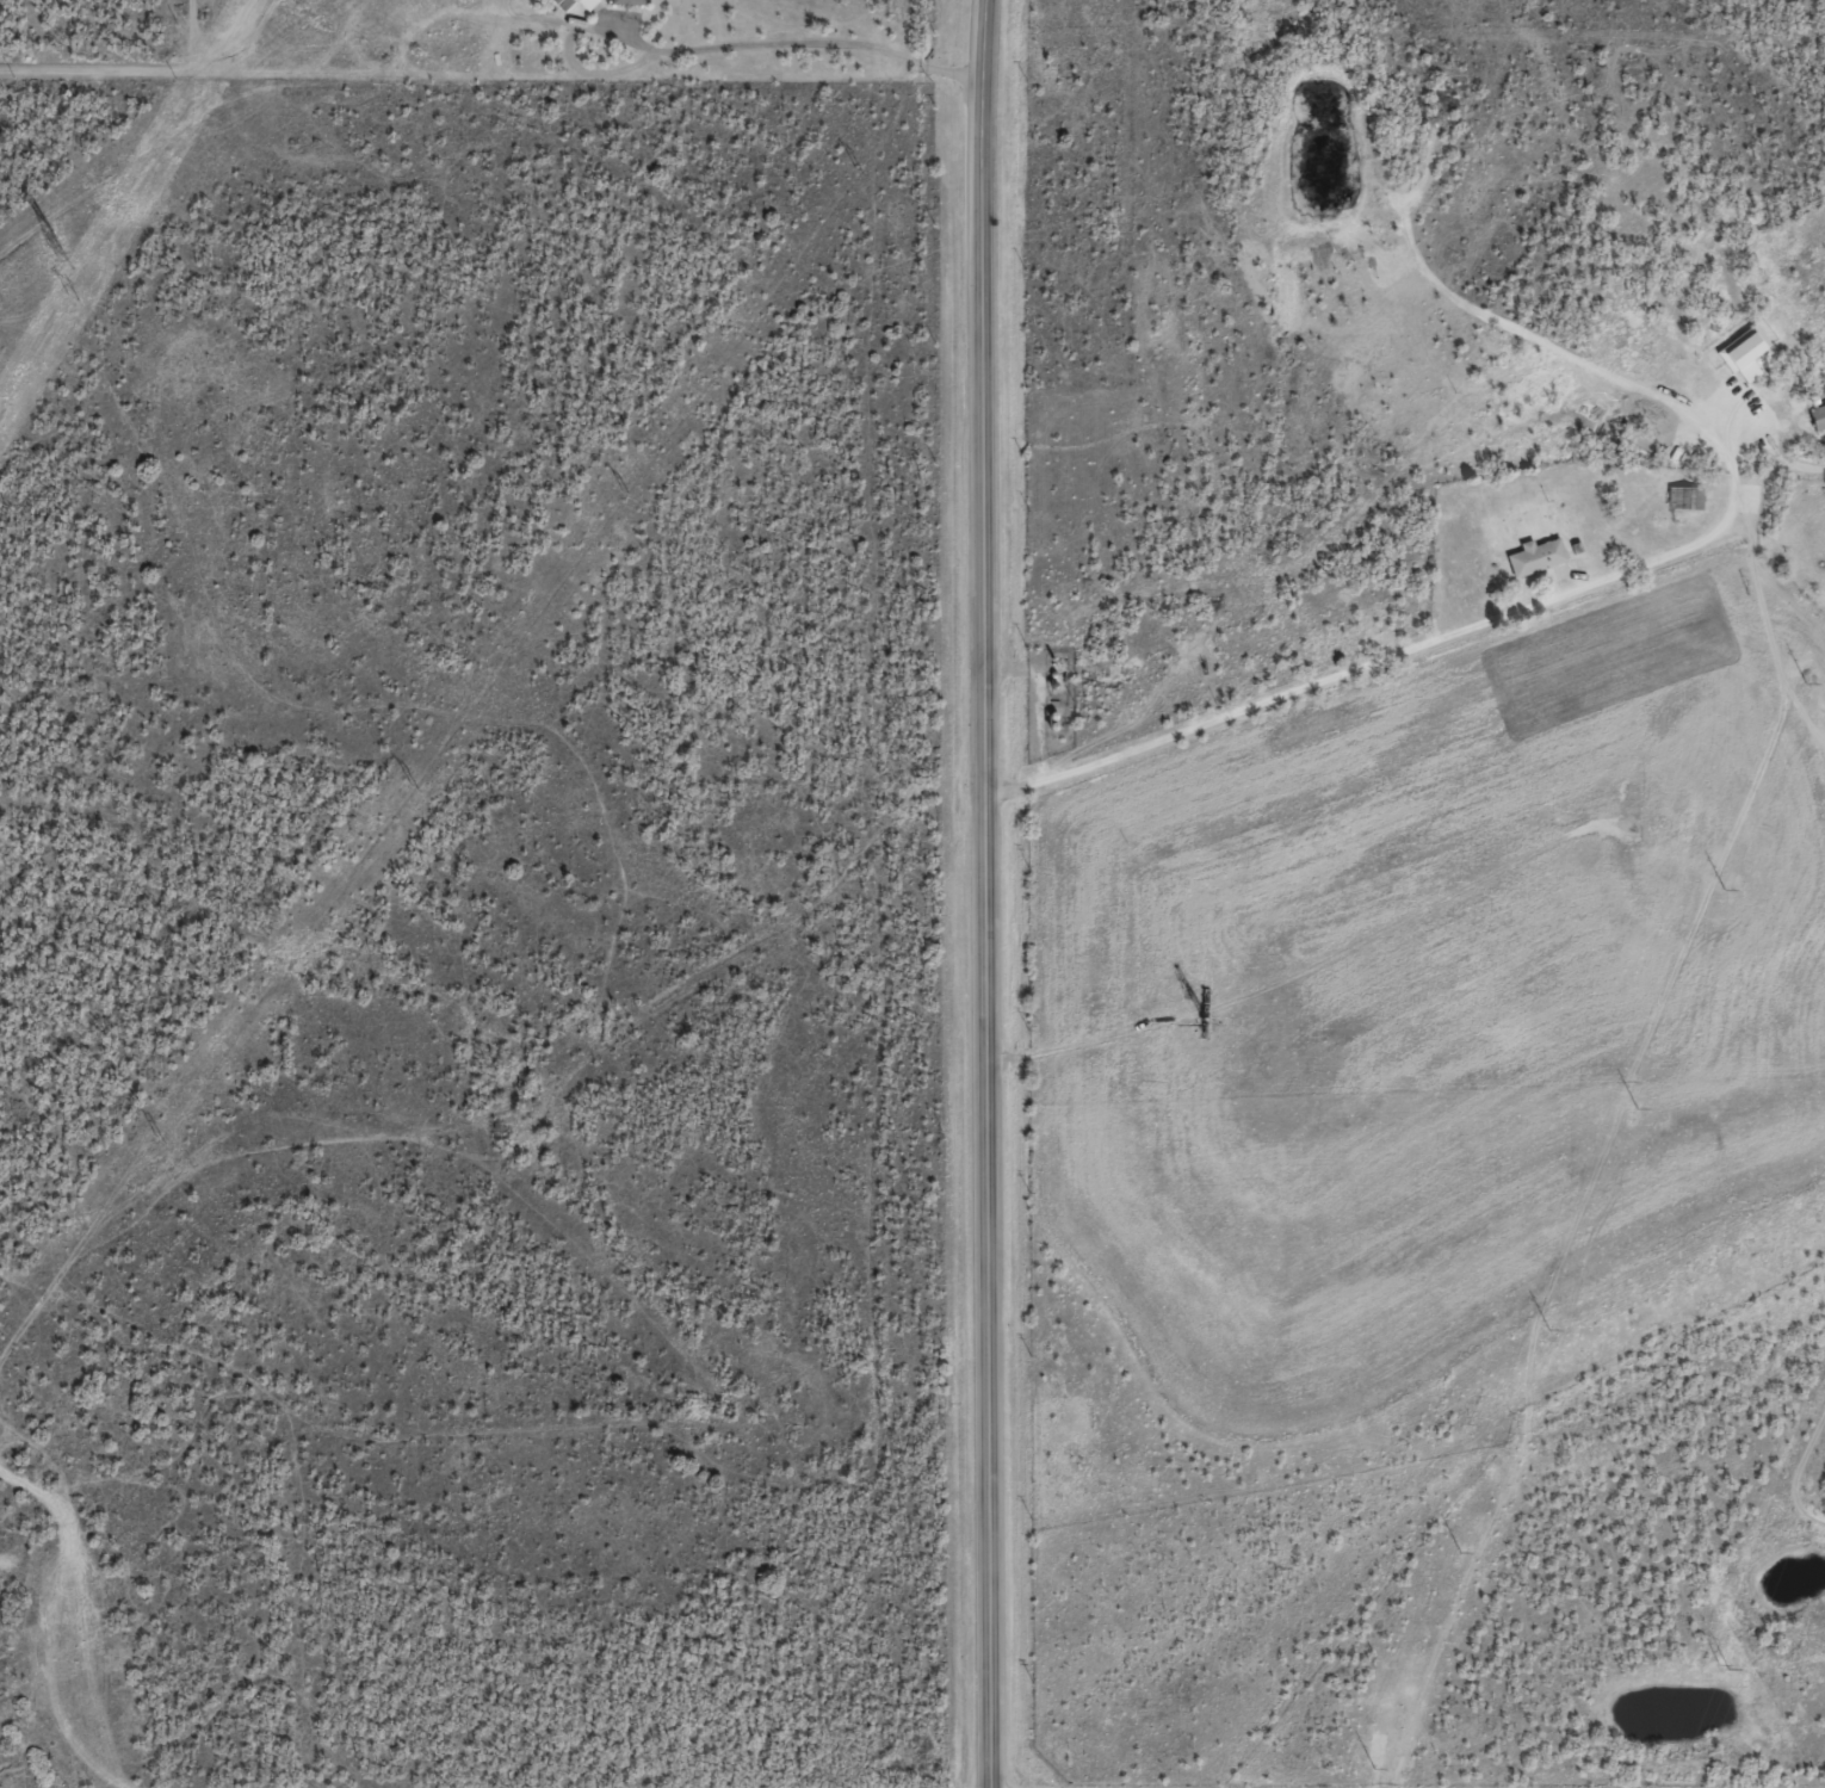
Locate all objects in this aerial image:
building: (631, 7)
road: (497, 76)
power tower: (859, 172)
power tower: (61, 248)
power tower: (70, 296)
building: (1740, 366)
building: (1815, 427)
power tower: (626, 494)
building: (1532, 567)
road: (1417, 645)
power tower: (413, 786)
road: (984, 893)
power tower: (159, 1139)
power tower: (1724, 1668)

